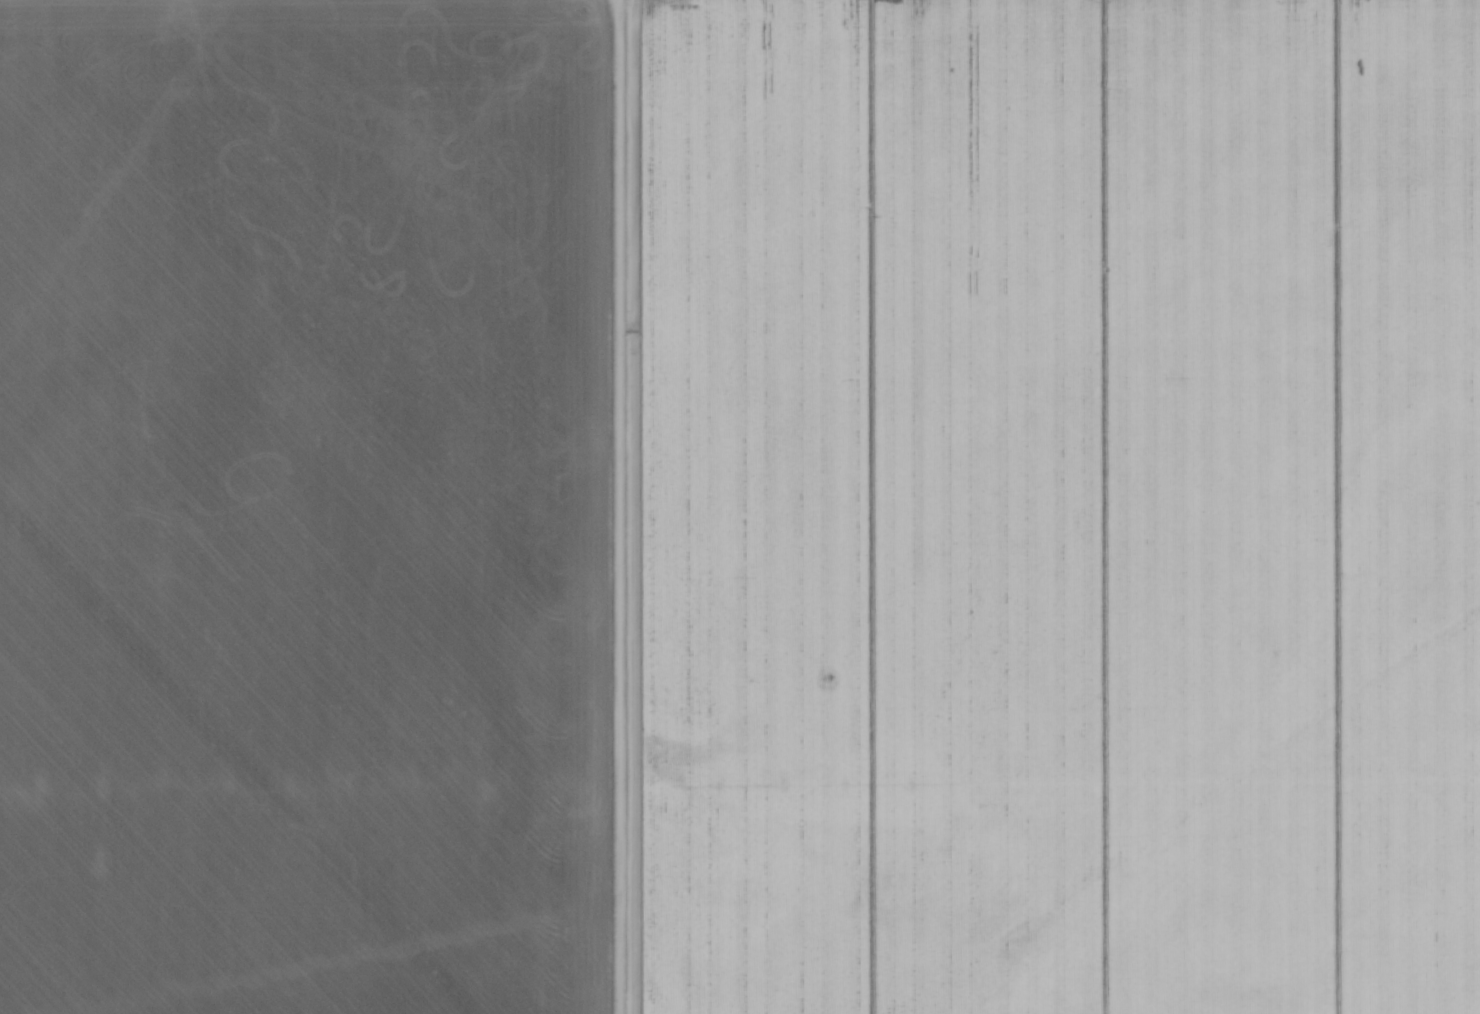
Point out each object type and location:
road: (1431, 964)

